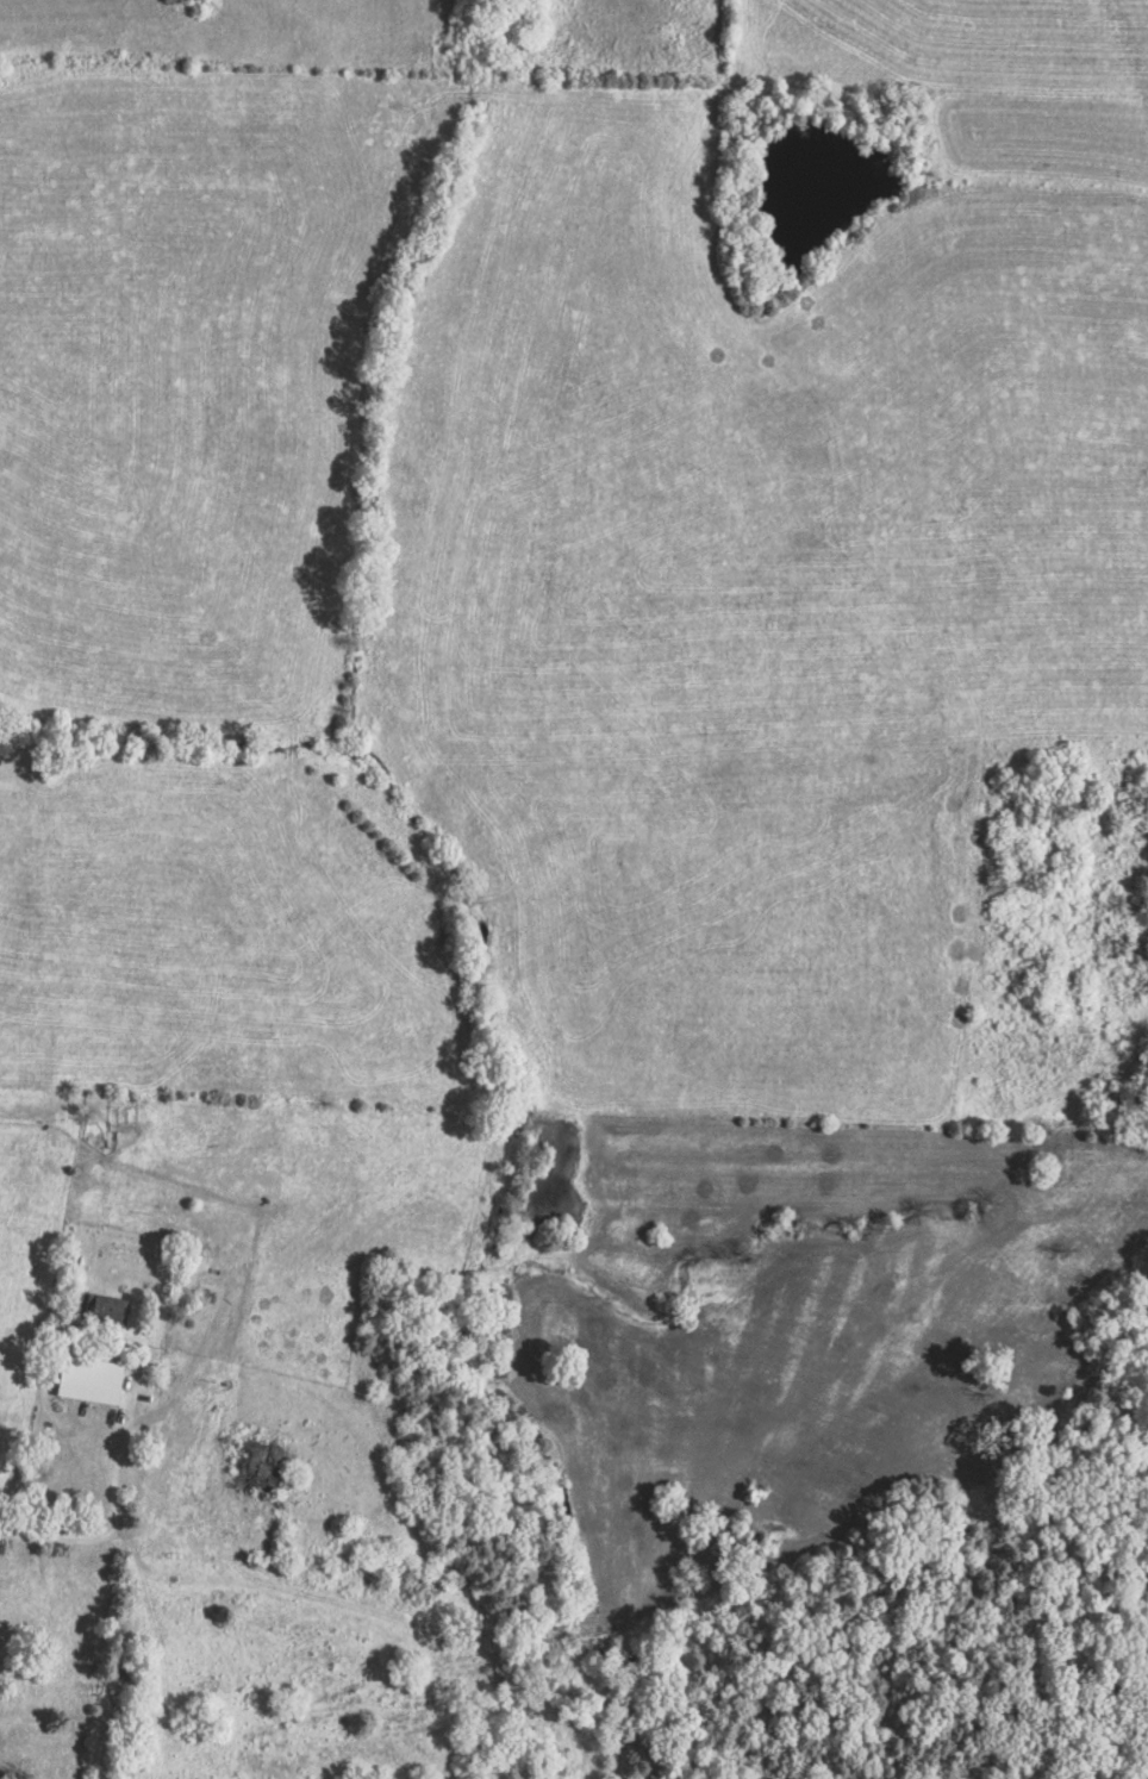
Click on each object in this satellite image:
building: (100, 1309)
building: (252, 1467)

